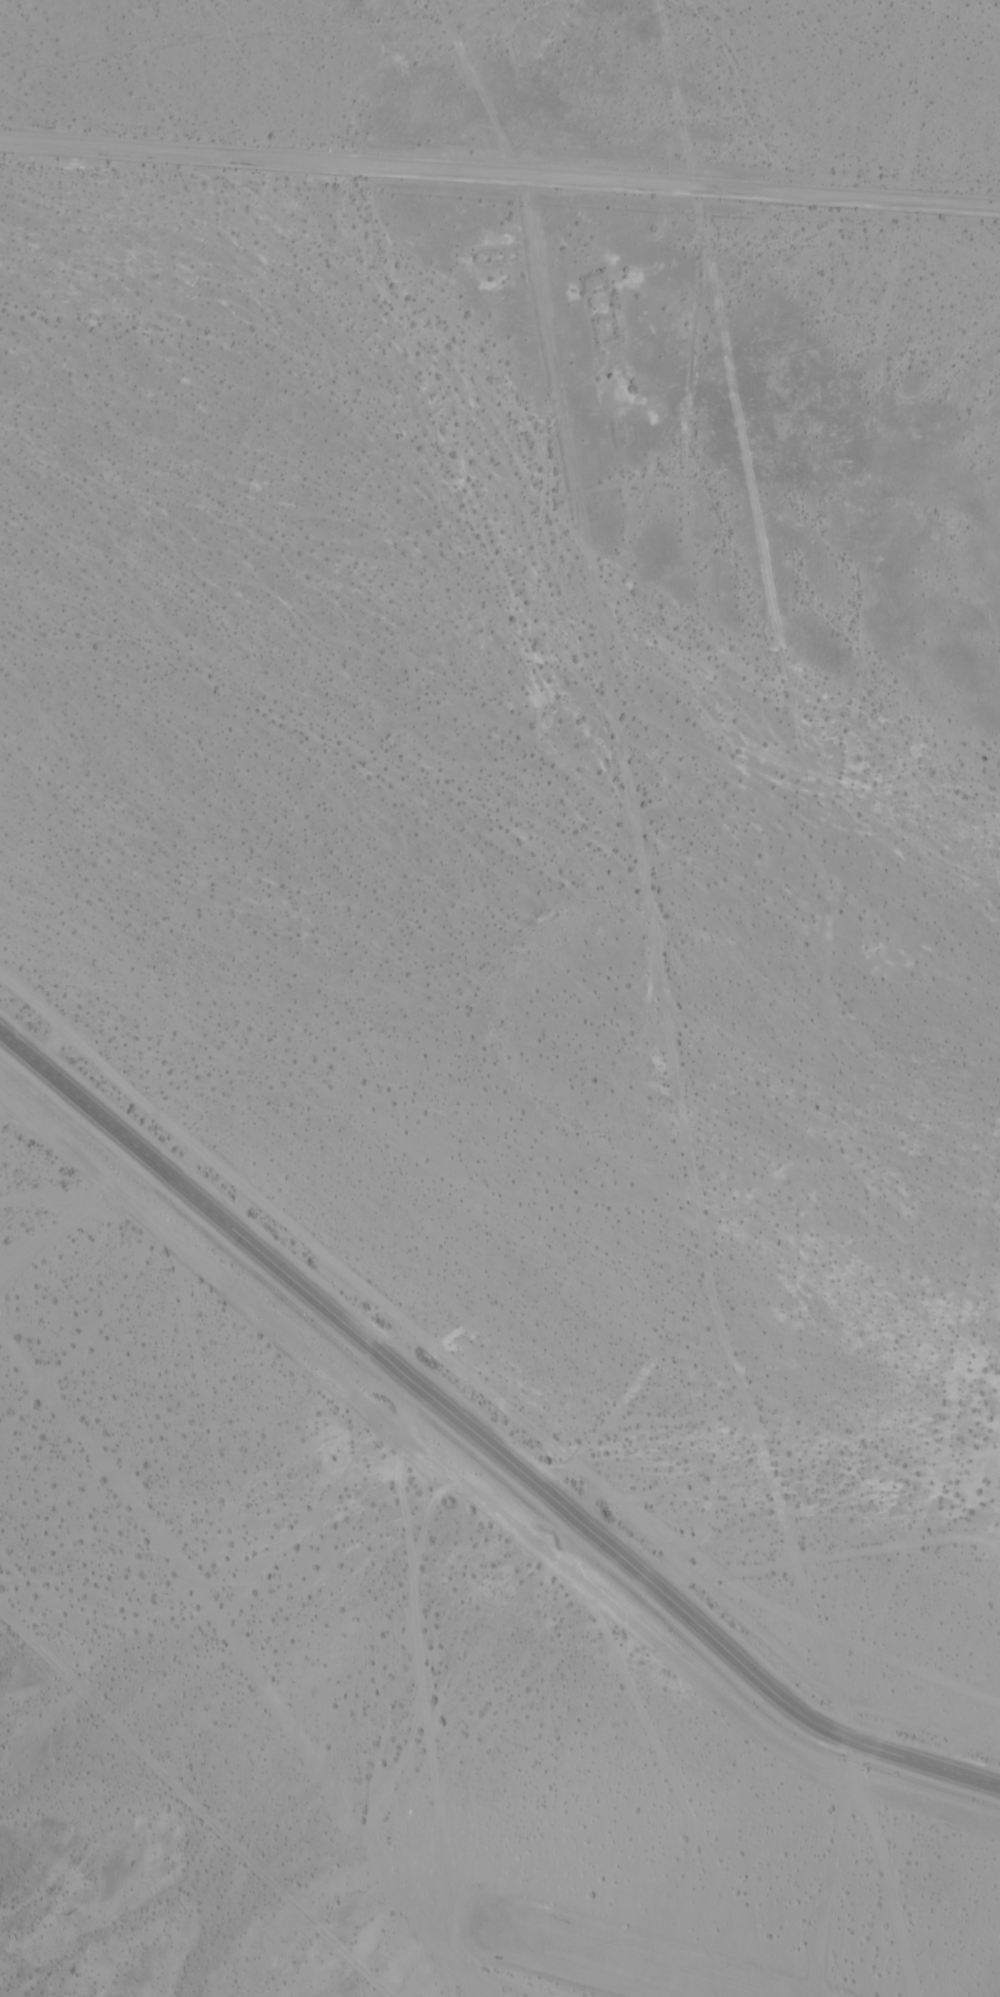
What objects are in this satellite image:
road: (500, 176)
road: (483, 1440)
airport: (787, 1556)
road: (906, 1800)
airport apron: (611, 1954)

